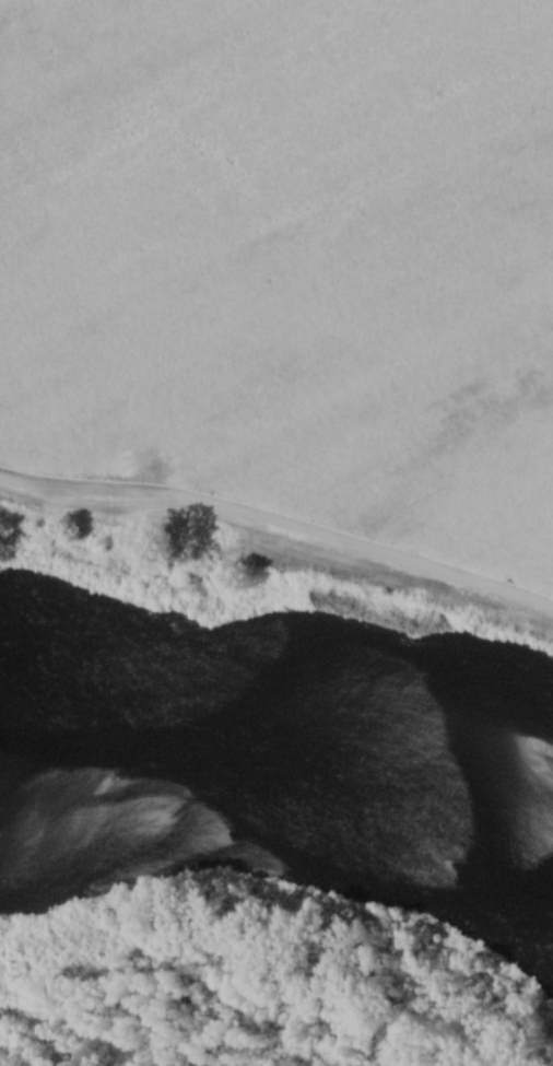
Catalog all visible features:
river: (276, 768)

